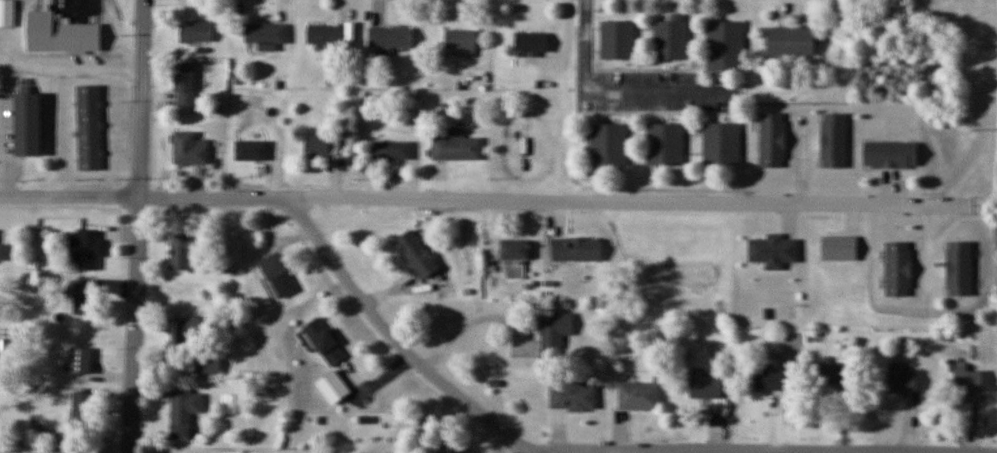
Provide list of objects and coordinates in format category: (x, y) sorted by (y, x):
building: (7, 13)
building: (197, 23)
building: (269, 26)
building: (326, 29)
building: (393, 32)
building: (624, 32)
building: (677, 32)
building: (467, 34)
building: (801, 34)
building: (533, 37)
building: (77, 38)
building: (732, 40)
building: (193, 78)
road: (609, 92)
building: (28, 125)
building: (90, 128)
building: (779, 133)
building: (842, 134)
building: (319, 135)
building: (729, 137)
building: (672, 138)
building: (616, 139)
building: (192, 140)
building: (462, 141)
building: (255, 143)
building: (396, 144)
building: (317, 148)
building: (901, 150)
road: (485, 193)
road: (144, 226)
building: (849, 242)
building: (523, 243)
building: (780, 243)
building: (580, 244)
building: (3, 247)
building: (423, 248)
building: (85, 251)
building: (233, 251)
building: (514, 251)
building: (182, 252)
building: (908, 262)
building: (972, 262)
building: (520, 265)
building: (286, 268)
building: (279, 276)
building: (86, 300)
building: (190, 332)
building: (563, 332)
road: (389, 338)
building: (325, 342)
building: (81, 361)
building: (210, 366)
building: (841, 368)
building: (904, 371)
building: (779, 375)
building: (712, 381)
building: (969, 381)
building: (333, 387)
building: (643, 389)
building: (578, 390)
building: (82, 409)
building: (185, 413)
building: (451, 448)
road: (728, 451)

